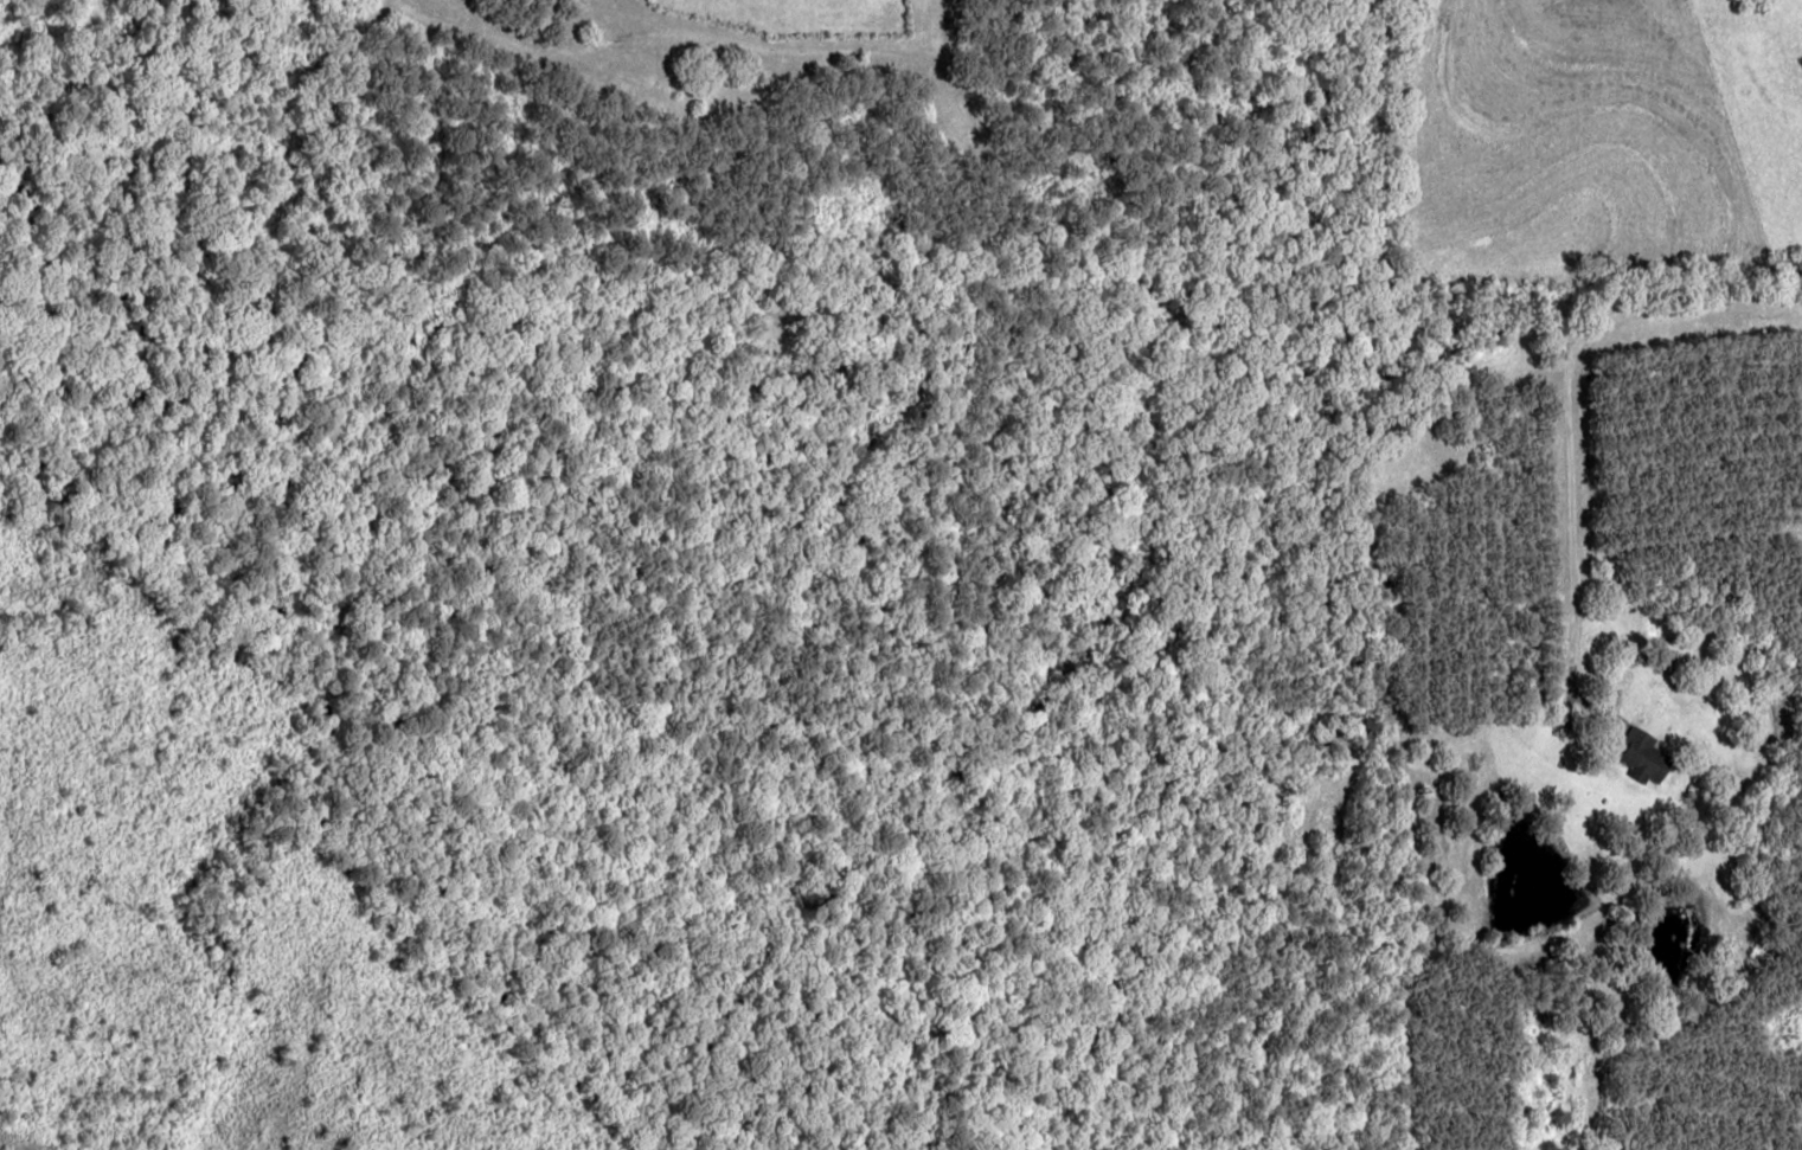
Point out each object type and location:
road: (1693, 17)
building: (1647, 758)

